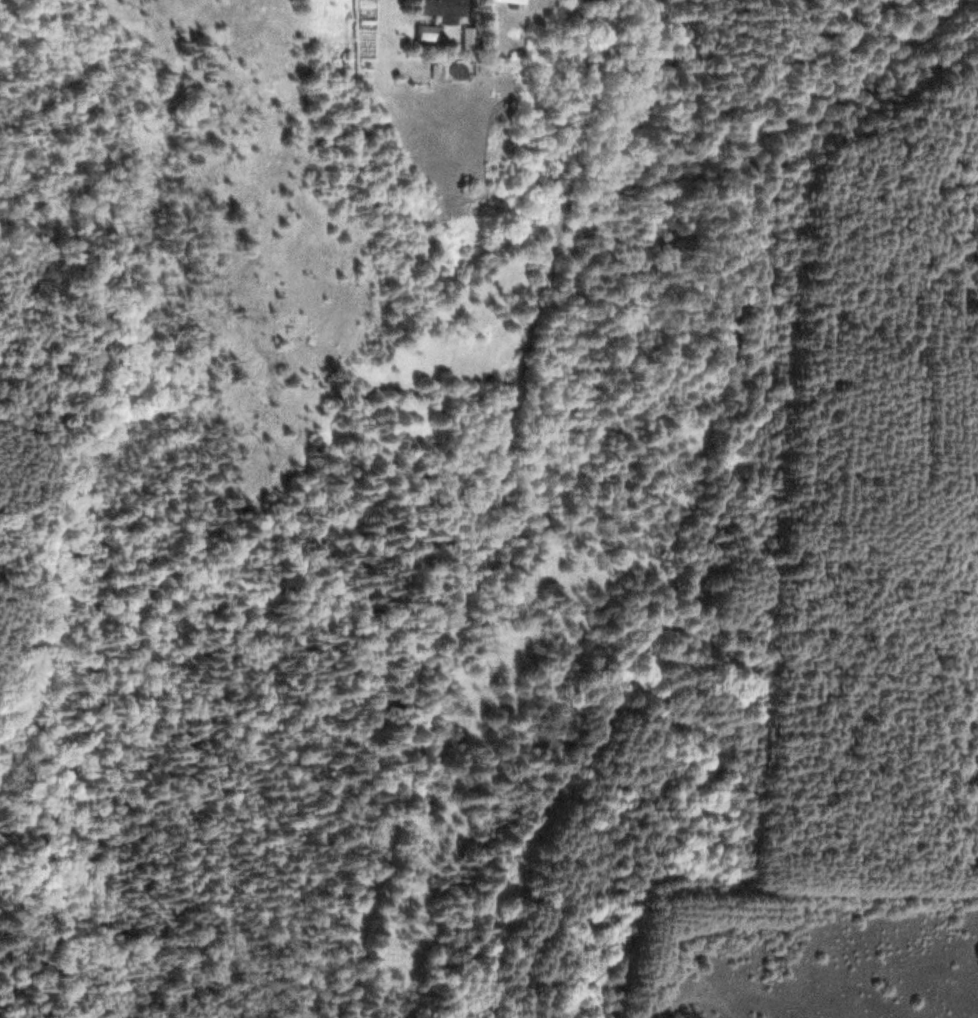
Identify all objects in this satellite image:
building: (498, 1)
building: (582, 1)
building: (435, 9)

